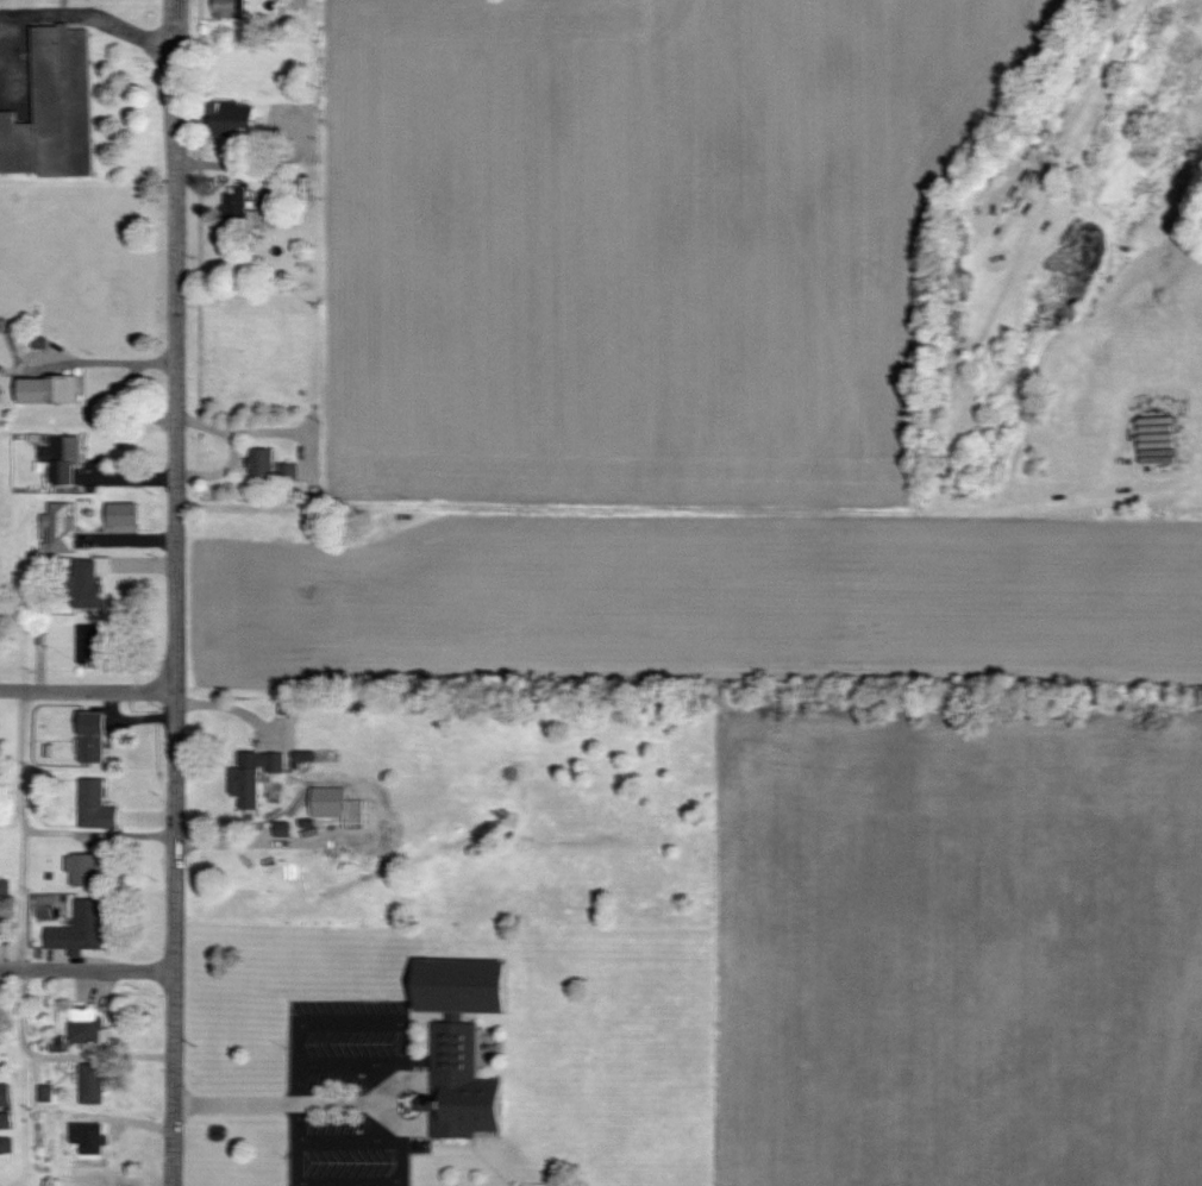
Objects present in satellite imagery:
building: (226, 10)
road: (87, 14)
building: (54, 109)
building: (237, 118)
building: (237, 203)
building: (50, 390)
building: (1158, 440)
building: (65, 458)
building: (263, 463)
building: (290, 471)
building: (124, 514)
building: (60, 528)
road: (175, 551)
building: (86, 583)
building: (92, 645)
road: (11, 688)
road: (99, 689)
building: (93, 738)
building: (255, 776)
building: (330, 802)
building: (98, 803)
road: (98, 834)
building: (84, 870)
building: (82, 929)
road: (20, 947)
road: (87, 967)
building: (463, 986)
building: (84, 1025)
building: (93, 1084)
building: (461, 1086)
building: (46, 1094)
road: (282, 1103)
building: (5, 1109)
building: (89, 1137)
road: (175, 1143)
building: (6, 1146)

